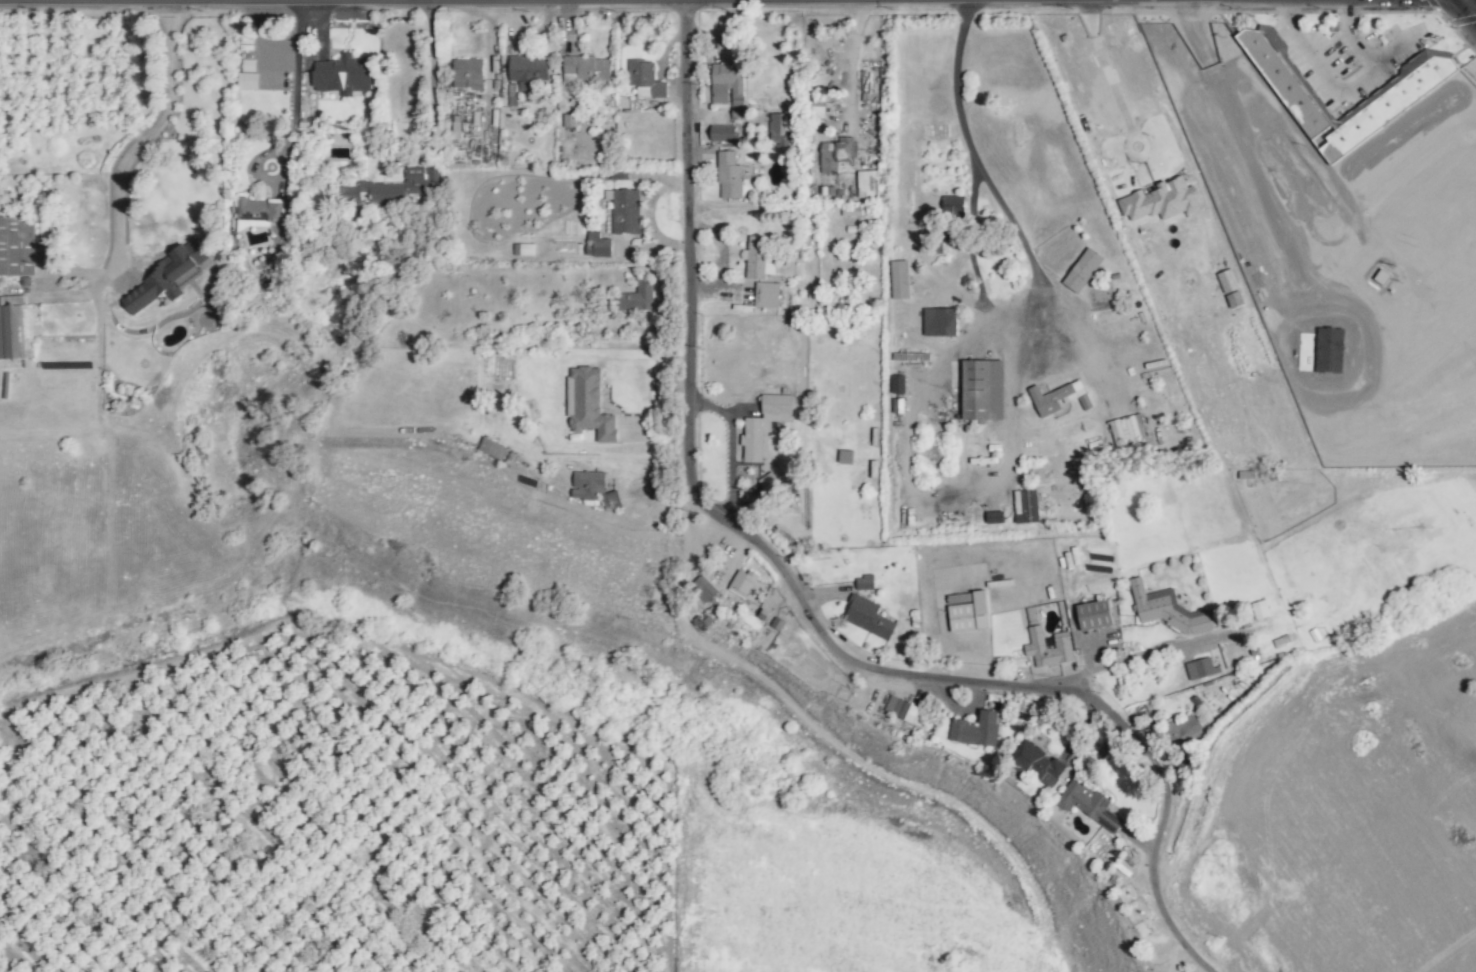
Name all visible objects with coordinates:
road: (1469, 6)
parking lot: (1356, 63)
building: (586, 69)
building: (527, 72)
building: (467, 73)
building: (342, 75)
road: (431, 79)
building: (645, 79)
road: (957, 80)
building: (248, 81)
road: (1109, 83)
building: (1284, 83)
road: (295, 86)
building: (728, 87)
road: (1343, 88)
building: (1389, 107)
building: (569, 120)
building: (780, 130)
building: (723, 133)
road: (150, 137)
building: (836, 154)
building: (729, 175)
building: (867, 184)
building: (393, 188)
building: (1161, 201)
building: (953, 205)
building: (259, 210)
building: (625, 211)
road: (1280, 230)
building: (597, 245)
building: (17, 246)
building: (523, 249)
building: (758, 259)
building: (1082, 270)
building: (164, 279)
building: (899, 279)
building: (1230, 288)
building: (766, 295)
building: (636, 298)
building: (939, 322)
building: (16, 332)
building: (1329, 350)
building: (897, 384)
building: (982, 390)
building: (1058, 399)
building: (589, 404)
building: (897, 406)
building: (764, 424)
road: (730, 443)
building: (492, 448)
building: (768, 482)
building: (587, 484)
road: (946, 496)
building: (610, 500)
building: (1025, 506)
building: (993, 517)
building: (864, 582)
building: (742, 583)
building: (701, 589)
road: (804, 603)
building: (1260, 609)
building: (1166, 610)
building: (967, 611)
building: (1094, 615)
building: (868, 617)
building: (1048, 647)
road: (1150, 650)
building: (1200, 668)
building: (905, 710)
building: (976, 730)
building: (1183, 730)
building: (1036, 764)
building: (1088, 804)
crop: (318, 826)

